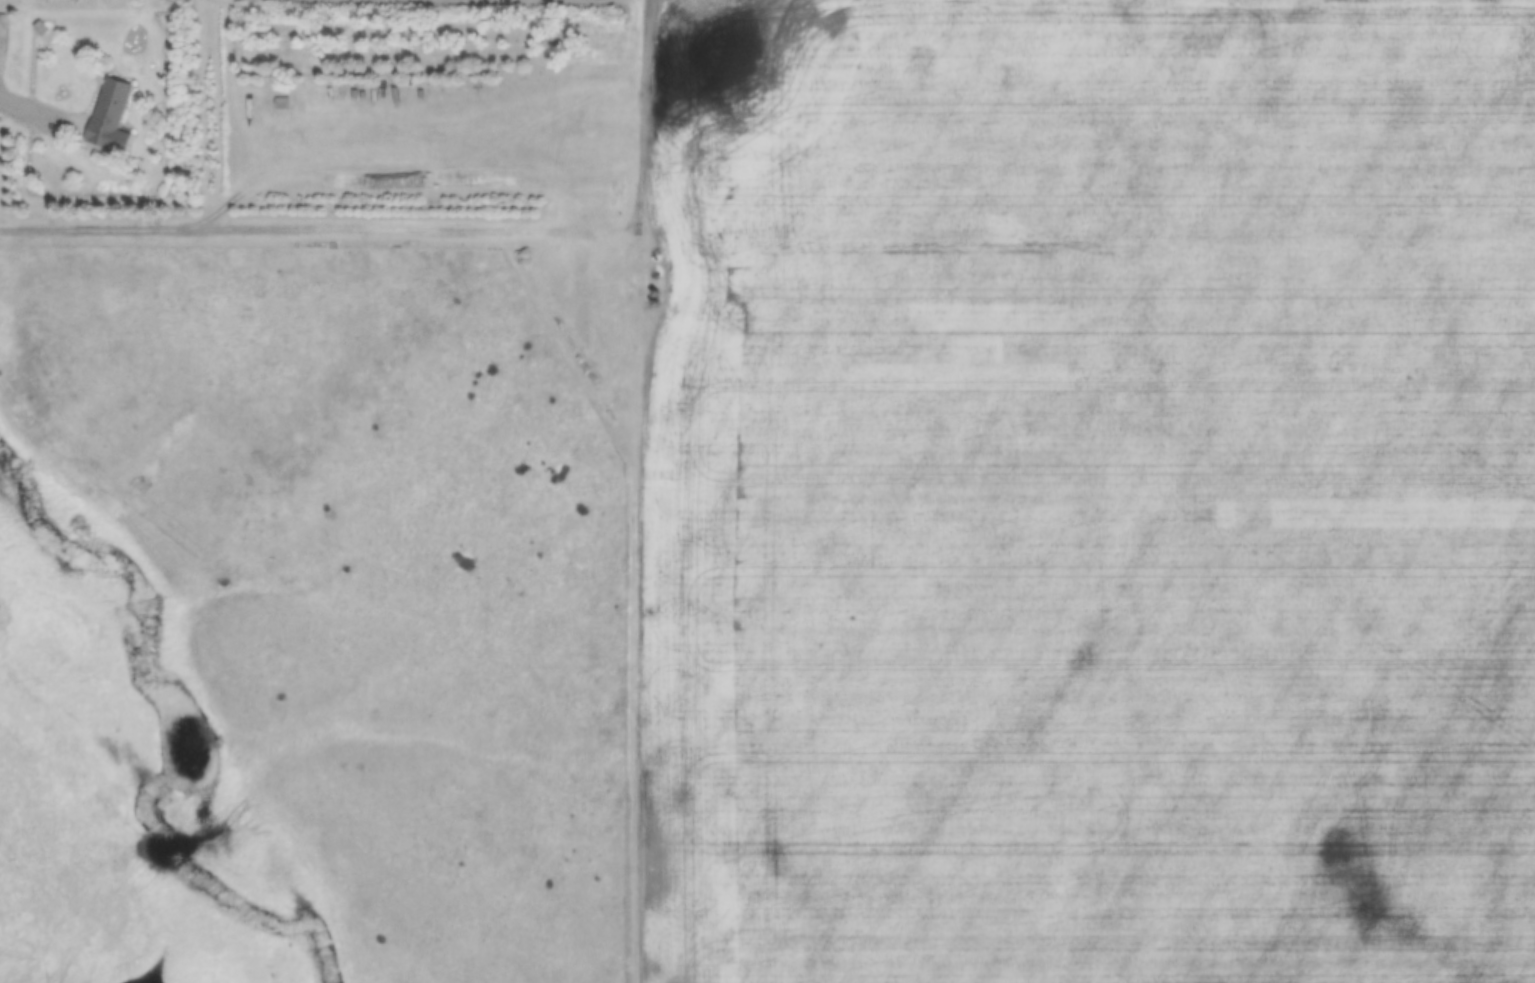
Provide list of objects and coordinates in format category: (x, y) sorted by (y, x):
building: (282, 101)
road: (646, 102)
building: (111, 114)
road: (319, 222)
building: (581, 252)
building: (658, 253)
building: (656, 271)
building: (581, 276)
building: (582, 300)
building: (544, 304)
building: (582, 317)
building: (583, 333)
building: (582, 350)
road: (634, 593)

